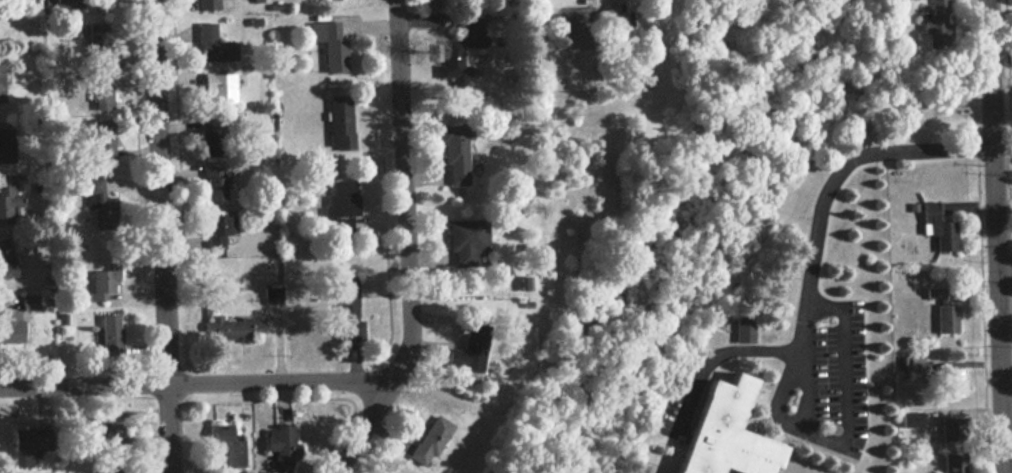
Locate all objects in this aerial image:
building: (64, 4)
building: (202, 5)
building: (934, 23)
building: (653, 29)
building: (96, 43)
building: (210, 46)
building: (326, 46)
building: (526, 49)
building: (450, 61)
building: (98, 86)
building: (2, 87)
building: (215, 89)
building: (336, 122)
building: (99, 139)
building: (3, 146)
building: (452, 153)
road: (828, 180)
building: (211, 186)
building: (339, 201)
building: (7, 203)
building: (101, 210)
building: (935, 228)
building: (214, 231)
road: (164, 236)
road: (997, 236)
building: (462, 238)
road: (409, 245)
building: (4, 265)
road: (1005, 269)
building: (99, 284)
building: (521, 284)
building: (933, 295)
building: (269, 296)
building: (24, 303)
building: (343, 310)
building: (945, 319)
building: (8, 328)
building: (228, 329)
building: (740, 330)
building: (106, 335)
building: (464, 354)
road: (195, 384)
building: (952, 384)
road: (810, 389)
road: (852, 412)
building: (908, 420)
building: (942, 430)
building: (723, 434)
building: (426, 441)
building: (24, 447)
building: (277, 447)
building: (222, 449)
building: (949, 463)
building: (112, 471)

